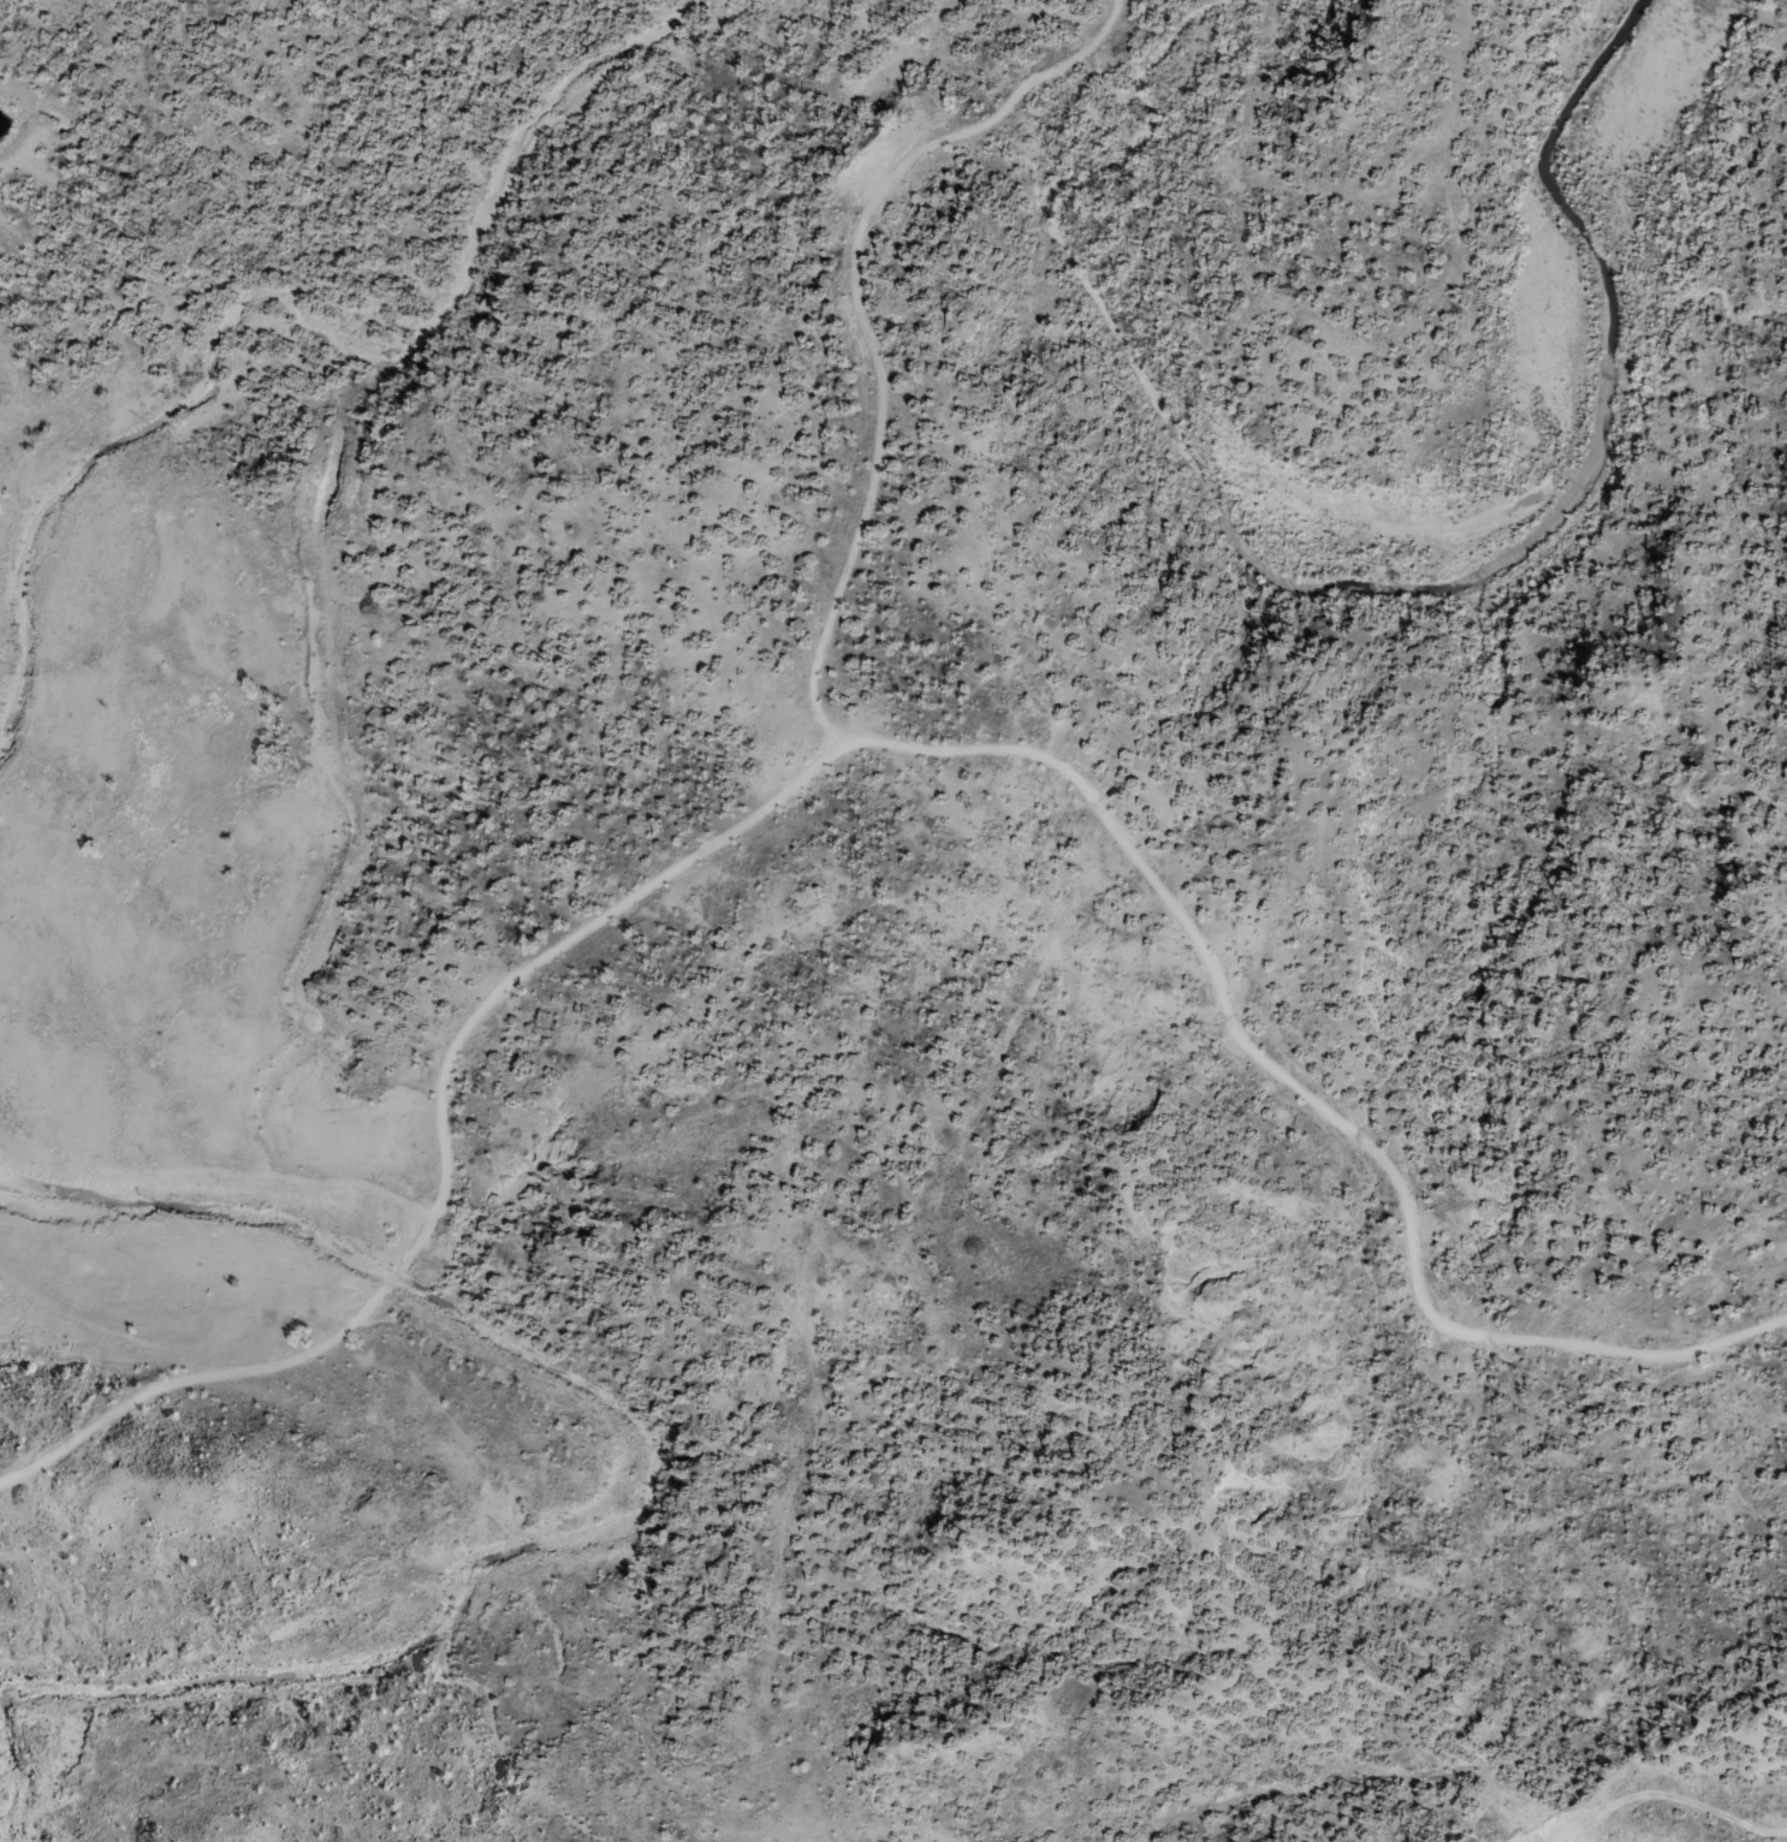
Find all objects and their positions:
road: (1608, 1538)

